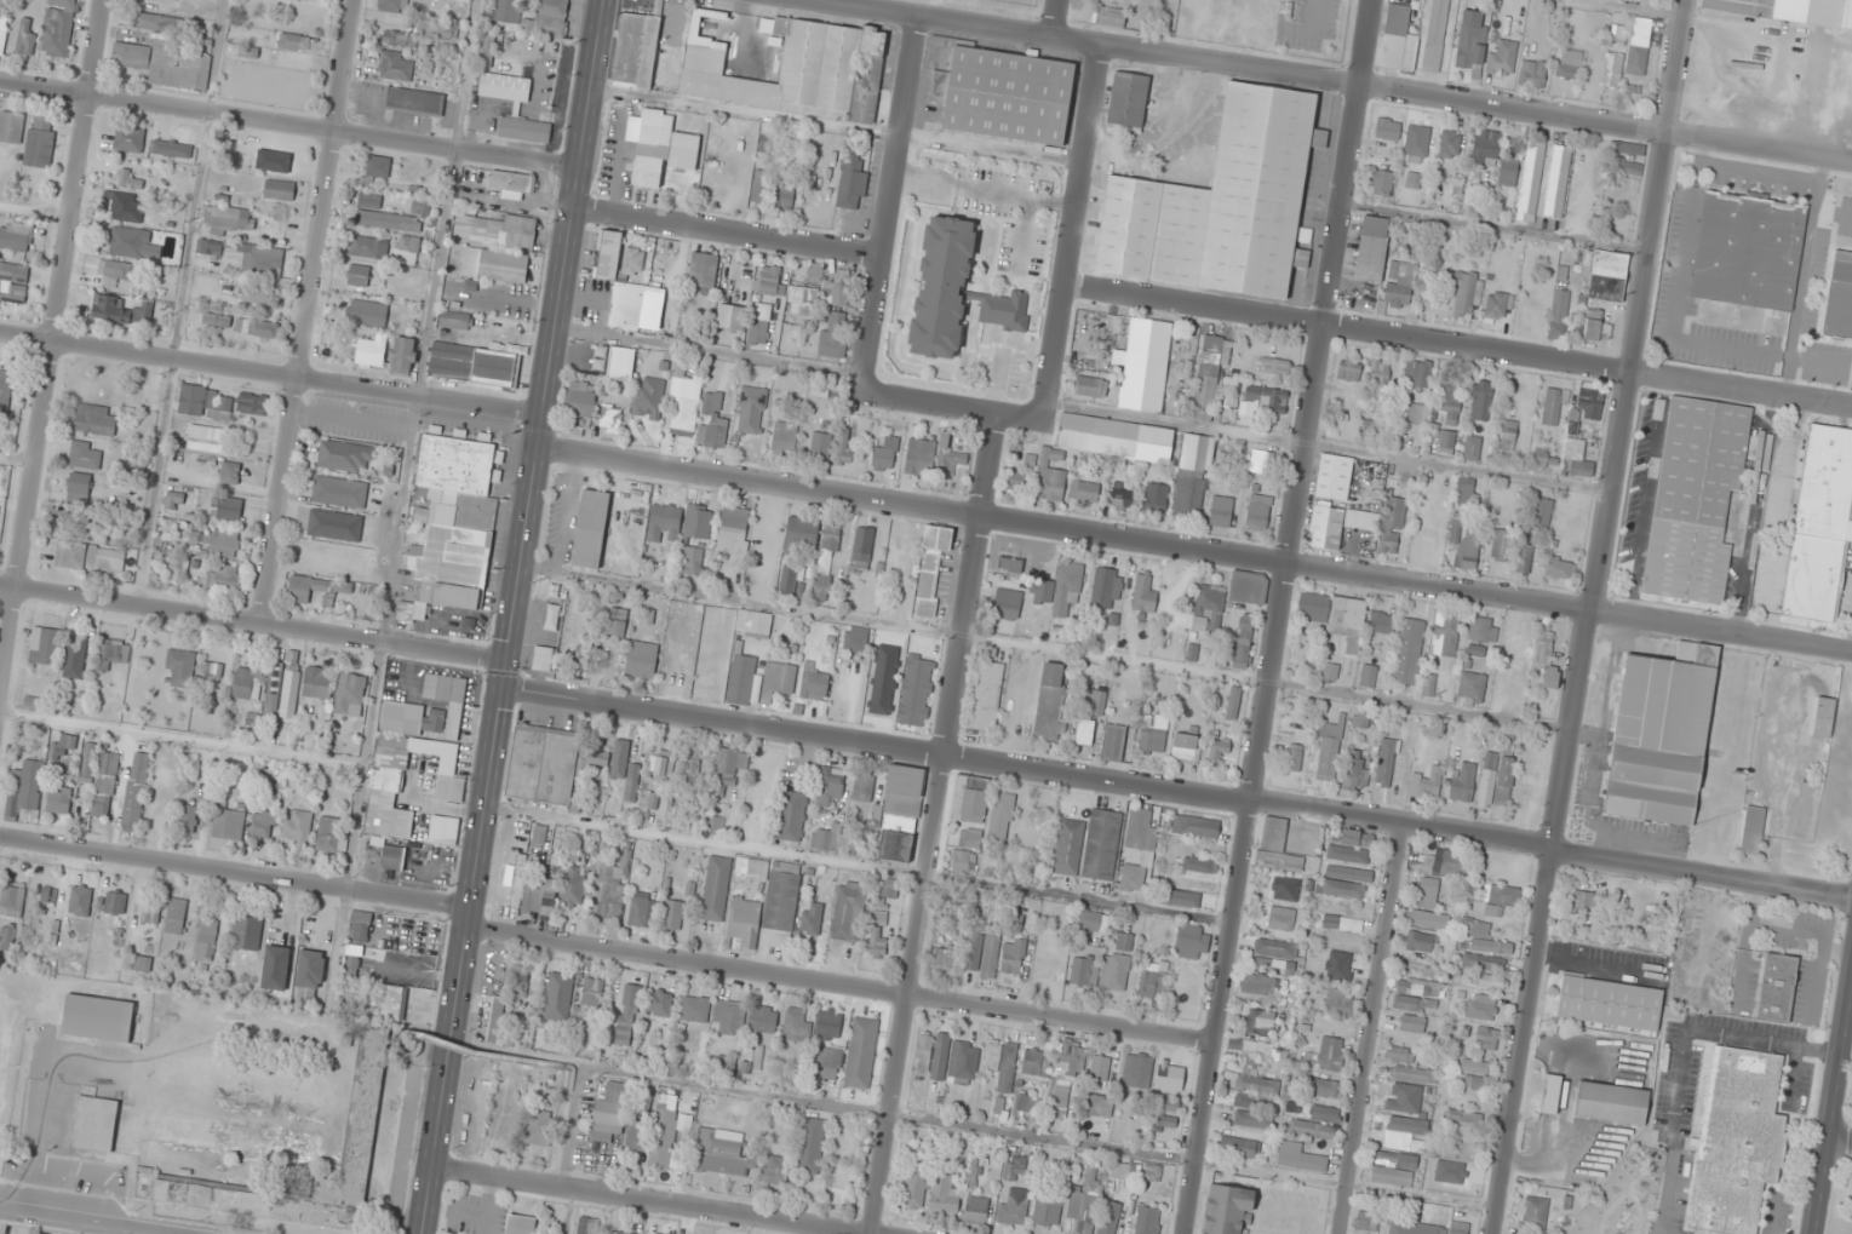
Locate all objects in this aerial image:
building: (394, 5)
building: (551, 8)
building: (1791, 10)
building: (1110, 17)
road: (1054, 18)
building: (159, 23)
building: (58, 28)
building: (2, 30)
building: (1435, 35)
building: (24, 36)
building: (400, 39)
building: (1398, 39)
building: (293, 41)
building: (1470, 42)
building: (1639, 46)
building: (635, 50)
building: (1501, 57)
building: (165, 64)
building: (1567, 64)
building: (394, 65)
building: (795, 68)
building: (1612, 71)
building: (1532, 74)
road: (1332, 81)
building: (999, 92)
building: (1128, 99)
building: (413, 101)
building: (514, 108)
road: (289, 125)
building: (11, 126)
building: (652, 126)
building: (1387, 128)
building: (128, 139)
building: (178, 140)
building: (1415, 143)
building: (1449, 144)
building: (39, 148)
building: (1486, 148)
building: (1628, 148)
building: (378, 166)
building: (1629, 170)
building: (1507, 171)
building: (647, 172)
building: (128, 179)
building: (1412, 180)
building: (852, 182)
building: (1530, 182)
building: (1558, 182)
building: (1382, 183)
building: (511, 185)
road: (986, 186)
building: (279, 190)
building: (784, 197)
road: (890, 203)
building: (1221, 203)
building: (127, 207)
building: (419, 207)
building: (383, 216)
building: (229, 219)
building: (495, 231)
road: (1073, 231)
road: (728, 233)
building: (15, 237)
building: (133, 243)
building: (208, 247)
building: (366, 247)
building: (1371, 249)
building: (1747, 249)
building: (406, 251)
building: (608, 254)
building: (1302, 258)
building: (260, 259)
building: (633, 262)
building: (495, 266)
building: (115, 271)
building: (703, 272)
building: (357, 275)
building: (1607, 276)
building: (769, 280)
building: (1399, 283)
building: (13, 285)
building: (837, 289)
building: (953, 291)
building: (1464, 293)
building: (257, 295)
building: (1839, 297)
building: (802, 300)
building: (1497, 304)
building: (630, 308)
building: (121, 311)
road: (308, 311)
building: (367, 314)
building: (1558, 315)
building: (730, 317)
building: (214, 318)
building: (455, 320)
building: (257, 328)
building: (1596, 329)
building: (757, 333)
building: (833, 337)
road: (1458, 346)
building: (371, 350)
road: (51, 355)
building: (402, 355)
building: (617, 361)
building: (474, 363)
building: (1148, 366)
building: (1274, 367)
building: (1349, 369)
road: (271, 373)
building: (1209, 375)
building: (1416, 375)
building: (1378, 378)
building: (5, 386)
building: (1090, 386)
building: (142, 388)
building: (94, 389)
building: (649, 397)
building: (1266, 397)
building: (580, 398)
building: (195, 400)
building: (1449, 400)
building: (1481, 401)
building: (683, 402)
building: (252, 403)
building: (1589, 404)
road: (956, 406)
building: (1553, 407)
building: (751, 411)
building: (1417, 414)
building: (609, 418)
building: (96, 420)
building: (712, 424)
building: (1369, 427)
building: (1093, 434)
building: (1508, 435)
building: (784, 437)
building: (207, 438)
building: (1444, 441)
building: (820, 447)
building: (1472, 448)
building: (842, 449)
building: (85, 454)
building: (344, 455)
building: (884, 455)
building: (919, 457)
building: (948, 458)
building: (1543, 459)
building: (1577, 459)
building: (1261, 461)
building: (230, 473)
building: (1051, 475)
building: (1192, 475)
building: (1334, 477)
building: (1017, 482)
building: (79, 483)
building: (1464, 490)
building: (339, 492)
building: (1084, 492)
building: (1122, 497)
building: (1156, 498)
building: (1695, 499)
building: (173, 500)
building: (227, 507)
building: (1220, 511)
building: (1257, 512)
building: (1541, 512)
building: (1360, 520)
building: (664, 523)
building: (698, 523)
building: (451, 524)
building: (733, 524)
building: (1821, 524)
building: (334, 526)
building: (1392, 526)
building: (631, 527)
building: (590, 529)
building: (799, 535)
building: (1325, 541)
building: (224, 543)
building: (1466, 545)
building: (1501, 545)
building: (862, 549)
road: (1194, 550)
building: (898, 552)
building: (90, 558)
building: (1523, 559)
building: (826, 561)
building: (690, 563)
building: (1010, 564)
building: (931, 569)
building: (1559, 570)
building: (789, 576)
building: (225, 578)
building: (314, 587)
building: (1106, 587)
building: (1062, 589)
building: (1248, 589)
building: (1142, 595)
building: (1005, 605)
building: (1208, 607)
road: (514, 616)
road: (1282, 616)
building: (1336, 616)
road: (1590, 616)
building: (551, 618)
road: (253, 621)
building: (617, 621)
building: (1382, 622)
building: (753, 624)
building: (1483, 630)
building: (1445, 638)
building: (855, 639)
building: (585, 645)
building: (1242, 645)
building: (44, 647)
building: (1407, 652)
building: (114, 653)
building: (75, 656)
building: (1546, 659)
building: (543, 660)
building: (641, 661)
traffic signals: (508, 662)
building: (179, 668)
building: (211, 671)
building: (1330, 672)
building: (1368, 676)
building: (778, 678)
building: (740, 679)
building: (317, 682)
building: (813, 683)
building: (246, 684)
building: (1428, 685)
building: (1470, 687)
building: (281, 688)
traffic signals: (503, 690)
building: (913, 693)
building: (350, 694)
building: (987, 695)
building: (1050, 701)
building: (31, 702)
building: (1096, 702)
building: (1233, 702)
building: (1822, 717)
railway: (1771, 727)
building: (1084, 731)
building: (1152, 735)
building: (1661, 735)
building: (1113, 742)
building: (61, 746)
building: (1186, 748)
building: (1219, 748)
building: (415, 751)
building: (1328, 753)
building: (693, 758)
building: (1292, 758)
building: (1384, 762)
building: (87, 763)
building: (732, 764)
building: (551, 765)
building: (660, 767)
building: (626, 771)
building: (1354, 773)
building: (1496, 779)
building: (1462, 781)
building: (105, 785)
building: (1426, 785)
building: (830, 786)
building: (862, 788)
building: (25, 790)
road: (1177, 790)
building: (134, 792)
building: (969, 798)
building: (58, 800)
building: (649, 800)
building: (900, 813)
building: (1000, 816)
building: (792, 817)
building: (187, 819)
road: (936, 822)
building: (716, 823)
building: (262, 825)
building: (228, 826)
building: (296, 826)
building: (1196, 827)
building: (1751, 831)
building: (327, 833)
building: (539, 834)
building: (1349, 837)
building: (827, 838)
building: (1101, 844)
building: (1067, 846)
building: (1275, 846)
building: (1140, 848)
building: (1361, 857)
building: (383, 859)
building: (959, 861)
building: (1199, 865)
building: (1444, 866)
building: (751, 867)
road: (235, 873)
building: (517, 880)
building: (572, 886)
building: (715, 888)
building: (888, 889)
building: (1285, 889)
building: (1341, 889)
building: (610, 893)
building: (1427, 894)
building: (543, 896)
building: (1501, 896)
building: (1188, 897)
building: (11, 901)
building: (114, 902)
building: (1582, 902)
building: (780, 909)
building: (848, 911)
building: (150, 912)
building: (641, 912)
building: (174, 916)
building: (673, 916)
building: (878, 918)
building: (1280, 919)
building: (1428, 919)
building: (814, 920)
building: (1090, 920)
building: (744, 922)
building: (360, 926)
building: (45, 931)
building: (246, 932)
building: (6, 937)
building: (205, 940)
building: (1192, 941)
building: (877, 942)
building: (1124, 942)
building: (1420, 942)
building: (1493, 947)
building: (1275, 948)
building: (974, 952)
building: (1013, 955)
building: (945, 959)
building: (990, 959)
building: (142, 963)
building: (1480, 963)
building: (1337, 965)
building: (275, 968)
building: (357, 968)
building: (1082, 971)
building: (1116, 971)
building: (309, 977)
building: (1152, 980)
building: (518, 982)
building: (1490, 982)
road: (843, 983)
building: (1257, 986)
building: (1411, 988)
building: (1776, 988)
building: (591, 992)
building: (557, 997)
building: (389, 1000)
building: (1340, 1003)
building: (1609, 1003)
building: (660, 1004)
building: (1414, 1004)
building: (1480, 1008)
building: (694, 1009)
building: (627, 1014)
building: (728, 1017)
building: (762, 1018)
building: (97, 1020)
building: (495, 1021)
building: (1260, 1023)
building: (1411, 1023)
building: (796, 1024)
building: (828, 1024)
road: (1374, 1029)
building: (1485, 1039)
building: (860, 1054)
building: (1331, 1054)
building: (931, 1055)
building: (1400, 1055)
building: (830, 1058)
building: (963, 1060)
building: (1032, 1061)
building: (723, 1062)
building: (1000, 1063)
building: (1099, 1068)
building: (1137, 1072)
building: (1065, 1074)
building: (1414, 1074)
building: (1475, 1075)
building: (242, 1080)
building: (1257, 1086)
building: (1326, 1089)
road: (1833, 1089)
building: (1549, 1095)
building: (1403, 1098)
building: (1022, 1103)
building: (1611, 1103)
building: (642, 1104)
building: (1099, 1107)
building: (609, 1113)
building: (1324, 1113)
building: (1462, 1118)
building: (1252, 1120)
building: (1163, 1121)
building: (94, 1124)
building: (538, 1127)
building: (664, 1130)
building: (1312, 1130)
building: (635, 1135)
building: (1405, 1135)
building: (235, 1137)
road: (1840, 1137)
building: (356, 1141)
building: (1736, 1141)
building: (810, 1147)
building: (1238, 1148)
building: (719, 1153)
building: (1298, 1158)
building: (1014, 1169)
building: (773, 1170)
building: (1393, 1170)
building: (1152, 1172)
building: (1122, 1173)
building: (914, 1189)
road: (656, 1200)
building: (942, 1200)
building: (1084, 1201)
building: (976, 1210)
building: (1013, 1210)
building: (1226, 1210)
building: (1047, 1211)
building: (1535, 1212)
building: (1108, 1217)
building: (1147, 1219)
road: (81, 1221)
building: (1365, 1222)
building: (520, 1224)
building: (1412, 1228)
building: (618, 1233)

